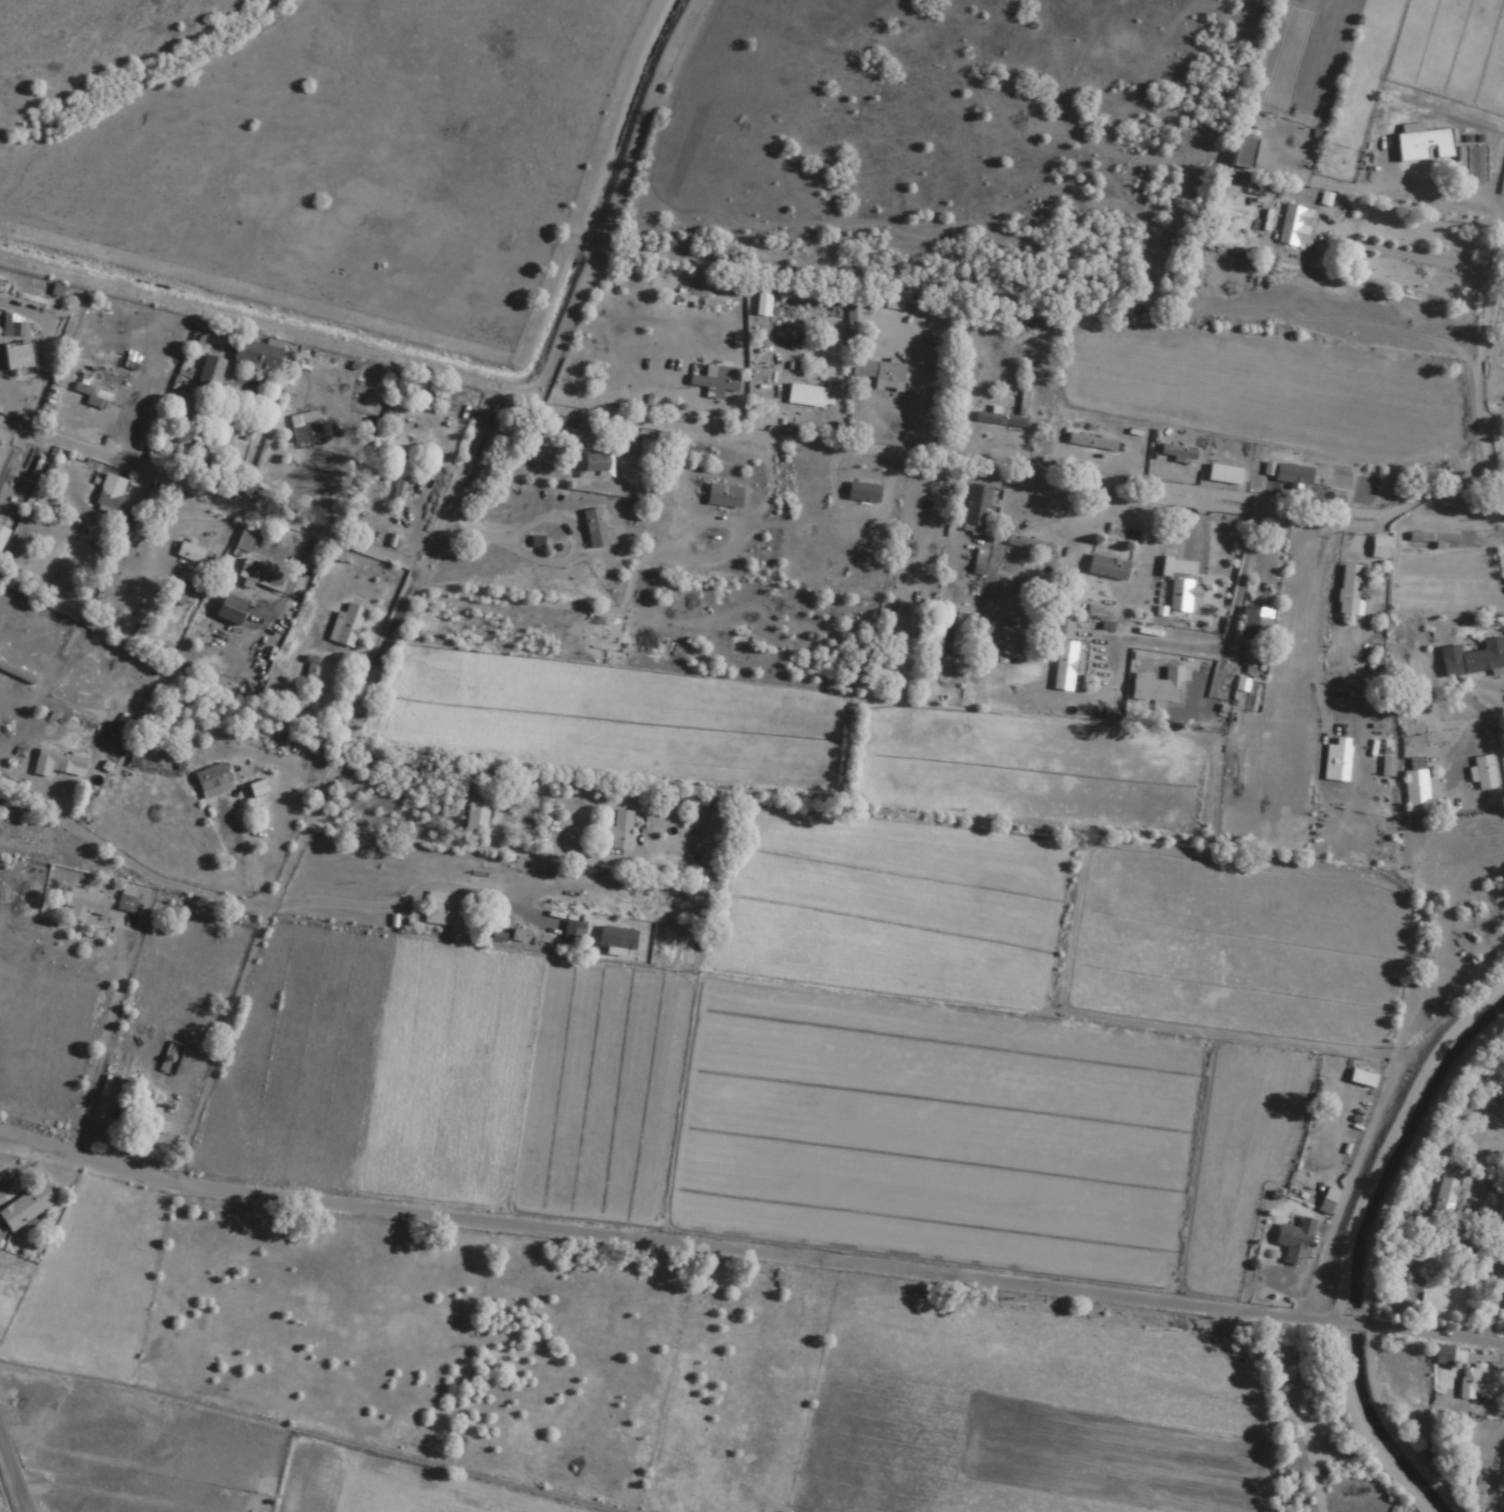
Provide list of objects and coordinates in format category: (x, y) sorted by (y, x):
road: (262, 27)
road: (1300, 89)
building: (1422, 144)
building: (1242, 152)
building: (1470, 164)
building: (1293, 226)
road: (1383, 229)
road: (247, 321)
building: (256, 356)
building: (14, 357)
building: (888, 374)
building: (208, 375)
building: (717, 383)
building: (327, 385)
building: (810, 392)
building: (90, 397)
road: (1488, 414)
building: (1000, 421)
building: (304, 431)
building: (423, 434)
building: (1091, 443)
building: (1176, 455)
building: (594, 463)
road: (997, 465)
building: (1294, 471)
building: (862, 493)
building: (723, 497)
building: (108, 501)
building: (977, 507)
building: (597, 530)
building: (1028, 545)
building: (1377, 548)
building: (194, 555)
building: (249, 564)
building: (1107, 568)
road: (414, 575)
building: (1349, 591)
building: (178, 595)
building: (1179, 596)
building: (1253, 624)
building: (347, 625)
building: (957, 633)
building: (1063, 652)
building: (1482, 658)
building: (190, 668)
building: (1157, 687)
building: (270, 689)
building: (168, 721)
building: (134, 758)
building: (60, 762)
building: (1338, 765)
building: (1387, 767)
building: (1481, 774)
building: (211, 782)
building: (1415, 788)
building: (473, 810)
building: (618, 831)
road: (126, 858)
building: (124, 900)
building: (83, 904)
building: (442, 910)
building: (608, 942)
building: (1420, 959)
building: (1492, 1098)
building: (143, 1123)
building: (1299, 1184)
building: (1497, 1188)
building: (1444, 1195)
building: (1327, 1200)
building: (24, 1208)
building: (1293, 1242)
road: (665, 1251)
building: (1391, 1257)
building: (1405, 1290)
road: (1356, 1345)
road: (1439, 1354)
building: (1448, 1356)
building: (1473, 1380)
road: (1386, 1431)
road: (13, 1471)
building: (1477, 1493)
road: (1501, 1509)

